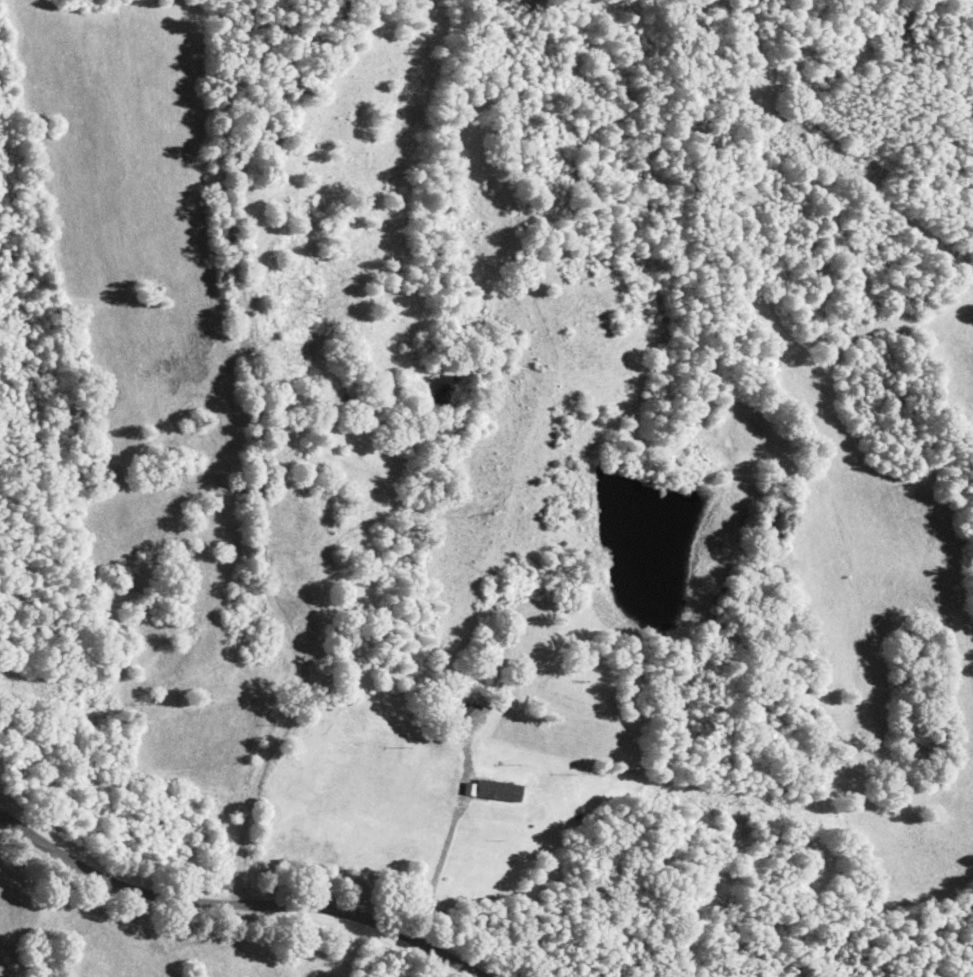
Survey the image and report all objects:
road: (404, 799)
road: (275, 874)
road: (657, 895)

